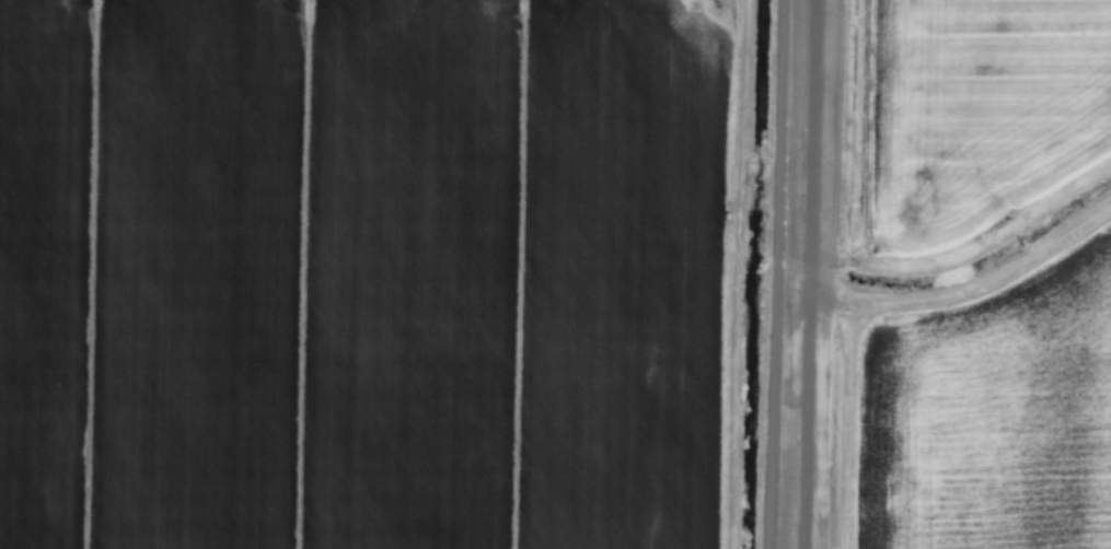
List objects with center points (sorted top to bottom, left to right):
road: (776, 137)
crop: (555, 274)

